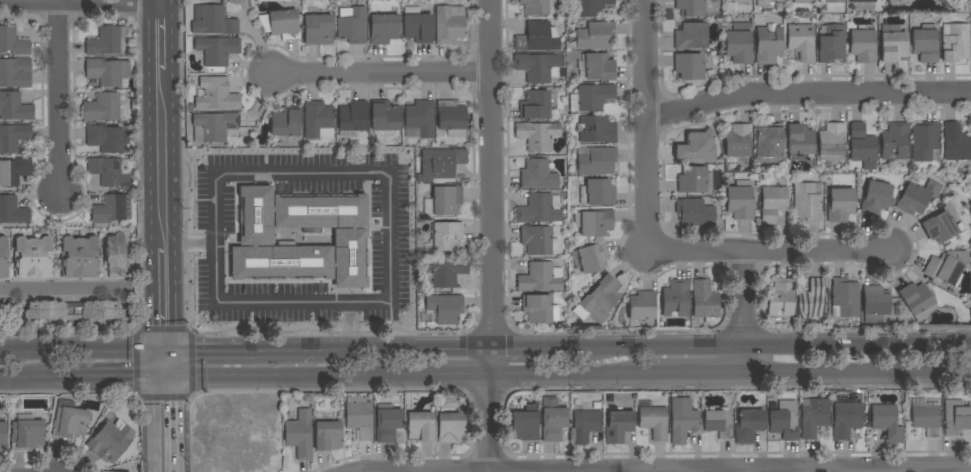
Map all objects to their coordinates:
road: (159, 1)
building: (737, 1)
building: (801, 1)
building: (831, 1)
road: (80, 2)
building: (862, 3)
building: (764, 4)
building: (898, 4)
building: (538, 7)
building: (590, 7)
building: (690, 8)
building: (212, 20)
building: (281, 23)
building: (449, 24)
building: (352, 25)
building: (417, 25)
building: (383, 29)
building: (318, 30)
building: (595, 36)
building: (691, 36)
road: (160, 37)
building: (537, 37)
building: (800, 40)
building: (12, 41)
building: (105, 41)
building: (955, 42)
building: (738, 43)
building: (830, 43)
building: (768, 44)
building: (892, 44)
building: (863, 45)
building: (924, 45)
building: (217, 50)
building: (595, 66)
building: (688, 66)
building: (537, 67)
building: (107, 71)
building: (15, 72)
road: (379, 73)
building: (216, 95)
road: (807, 96)
building: (590, 97)
road: (57, 98)
building: (535, 105)
building: (14, 107)
building: (101, 107)
building: (352, 116)
building: (384, 116)
building: (420, 117)
building: (452, 118)
building: (318, 120)
building: (285, 122)
road: (647, 125)
building: (213, 126)
building: (596, 129)
building: (537, 135)
building: (13, 137)
building: (104, 138)
building: (738, 140)
building: (799, 141)
building: (924, 141)
building: (831, 142)
building: (894, 142)
building: (768, 143)
building: (955, 144)
building: (862, 146)
building: (693, 150)
road: (160, 158)
building: (596, 160)
building: (441, 163)
building: (14, 171)
building: (110, 171)
building: (538, 175)
building: (692, 180)
building: (597, 192)
building: (916, 196)
building: (875, 197)
building: (444, 200)
building: (740, 201)
building: (807, 202)
building: (773, 204)
building: (840, 204)
building: (539, 209)
building: (110, 210)
building: (12, 211)
building: (695, 212)
building: (594, 222)
building: (940, 227)
road: (389, 232)
building: (446, 236)
road: (490, 236)
building: (350, 237)
building: (538, 240)
road: (188, 245)
road: (770, 250)
building: (115, 256)
building: (32, 257)
building: (79, 257)
building: (592, 257)
building: (3, 258)
parking lot: (389, 258)
building: (947, 267)
building: (445, 271)
building: (538, 278)
road: (66, 289)
building: (603, 295)
road: (161, 296)
building: (780, 297)
building: (675, 298)
building: (844, 298)
building: (811, 301)
building: (917, 301)
building: (705, 302)
building: (875, 303)
building: (641, 305)
building: (445, 308)
building: (537, 308)
building: (73, 310)
road: (745, 310)
road: (350, 325)
road: (163, 329)
road: (771, 341)
road: (532, 344)
road: (402, 346)
road: (237, 348)
traffic signals: (162, 349)
road: (81, 350)
road: (191, 351)
road: (162, 362)
road: (137, 364)
road: (966, 369)
road: (853, 370)
road: (692, 371)
road: (440, 372)
road: (566, 372)
road: (276, 374)
traffic signals: (163, 375)
road: (21, 376)
road: (102, 376)
road: (191, 386)
road: (164, 397)
building: (359, 416)
building: (813, 416)
building: (956, 417)
building: (846, 419)
building: (926, 419)
building: (69, 420)
building: (682, 420)
building: (784, 421)
road: (152, 422)
road: (174, 422)
building: (654, 422)
building: (718, 422)
building: (886, 422)
building: (387, 423)
building: (554, 423)
building: (524, 424)
building: (585, 425)
building: (748, 425)
building: (420, 426)
building: (618, 426)
building: (450, 428)
building: (3, 433)
building: (26, 433)
building: (299, 434)
building: (328, 435)
building: (109, 441)
building: (101, 471)
road: (888, 471)

